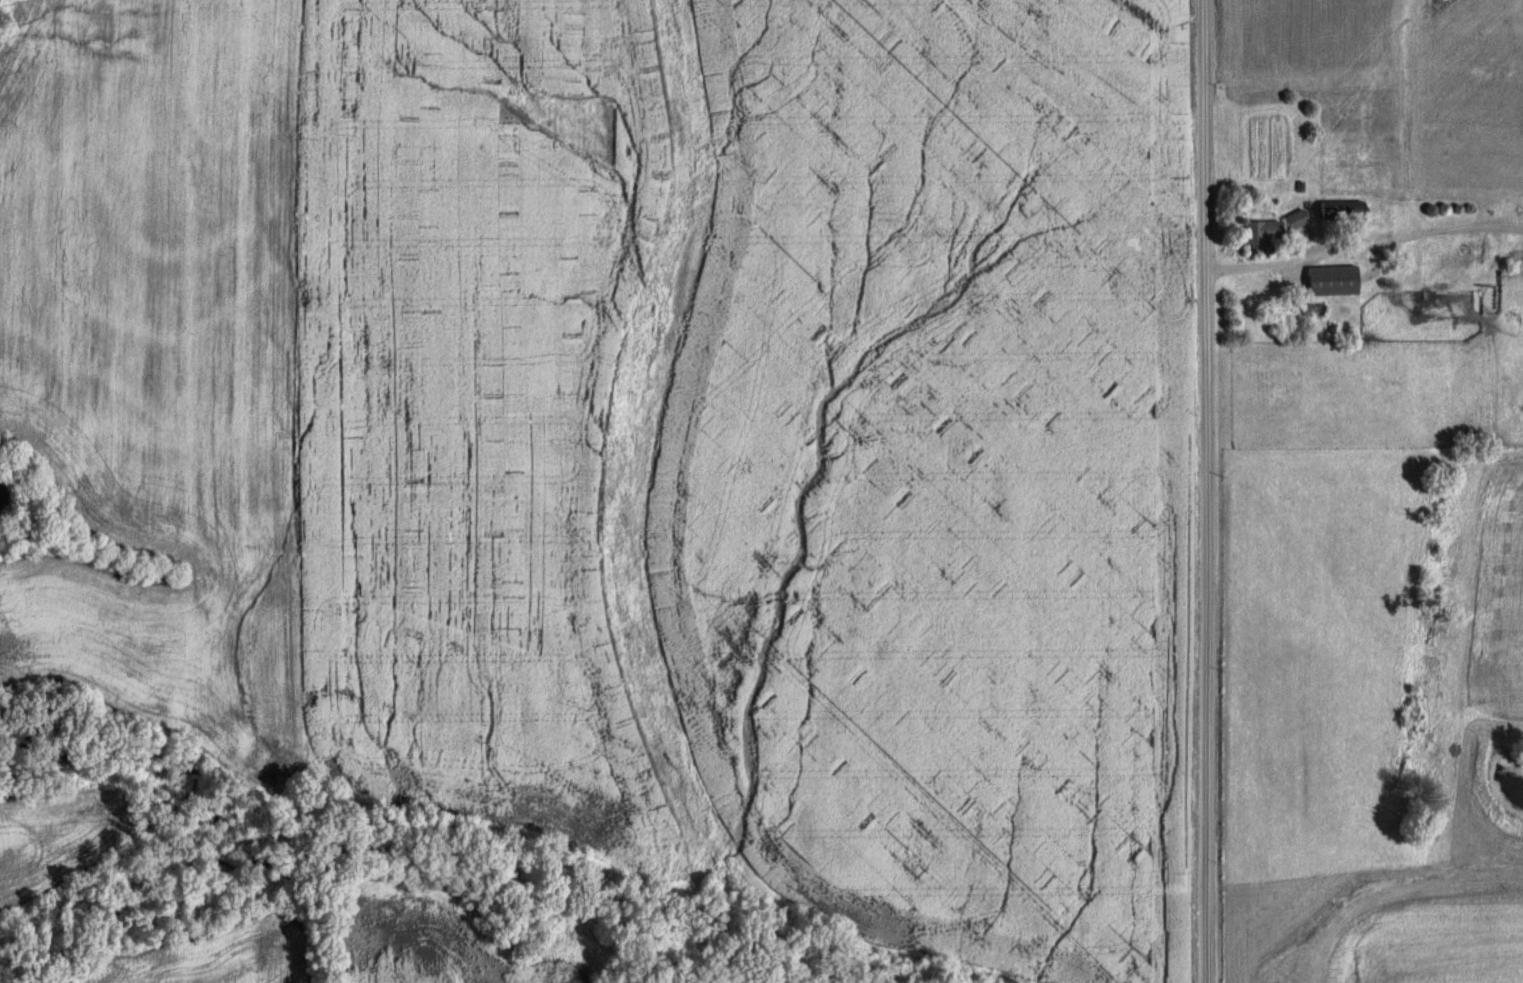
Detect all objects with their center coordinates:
building: (1338, 209)
building: (1293, 219)
building: (1252, 233)
building: (1328, 280)
building: (1311, 309)
road: (1205, 491)

